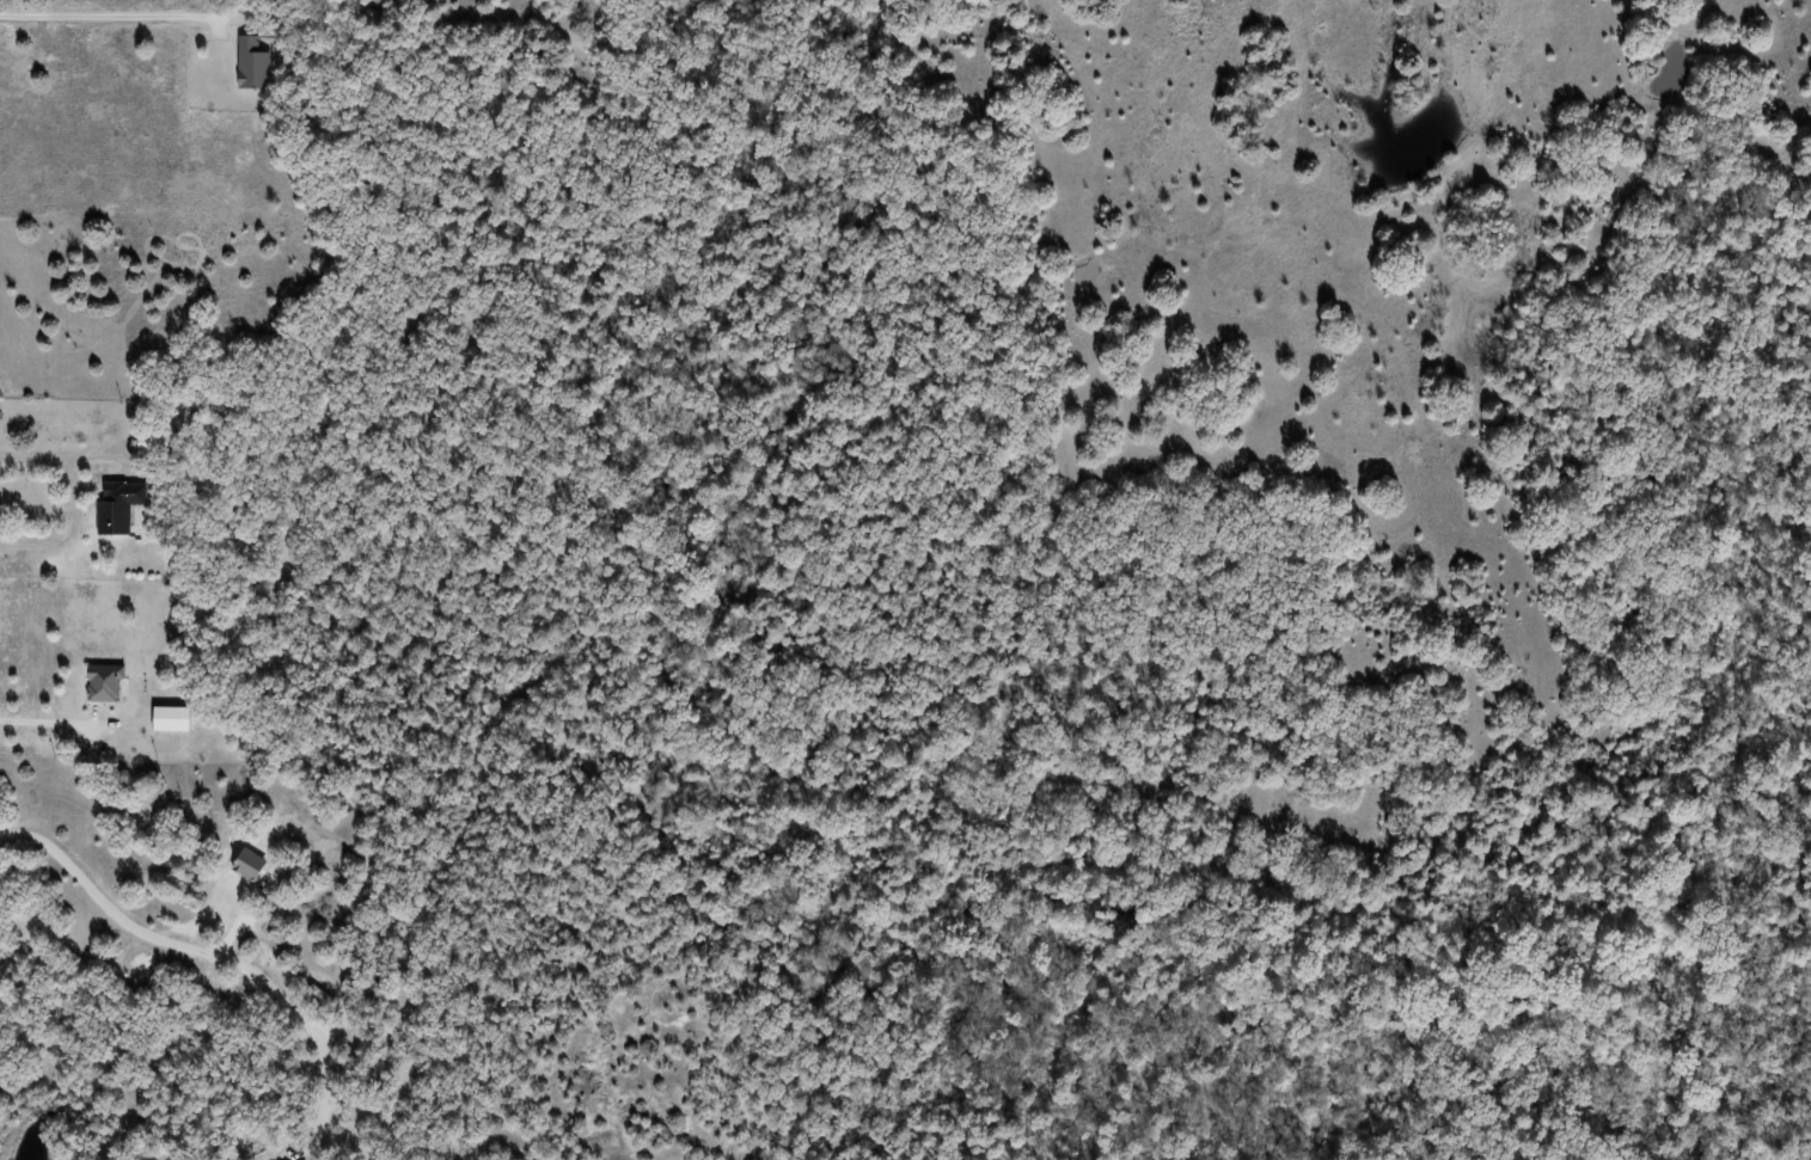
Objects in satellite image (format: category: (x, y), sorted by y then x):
road: (115, 14)
building: (251, 63)
building: (152, 443)
road: (74, 504)
building: (118, 505)
building: (103, 683)
building: (169, 718)
road: (47, 720)
road: (214, 956)
building: (320, 998)

